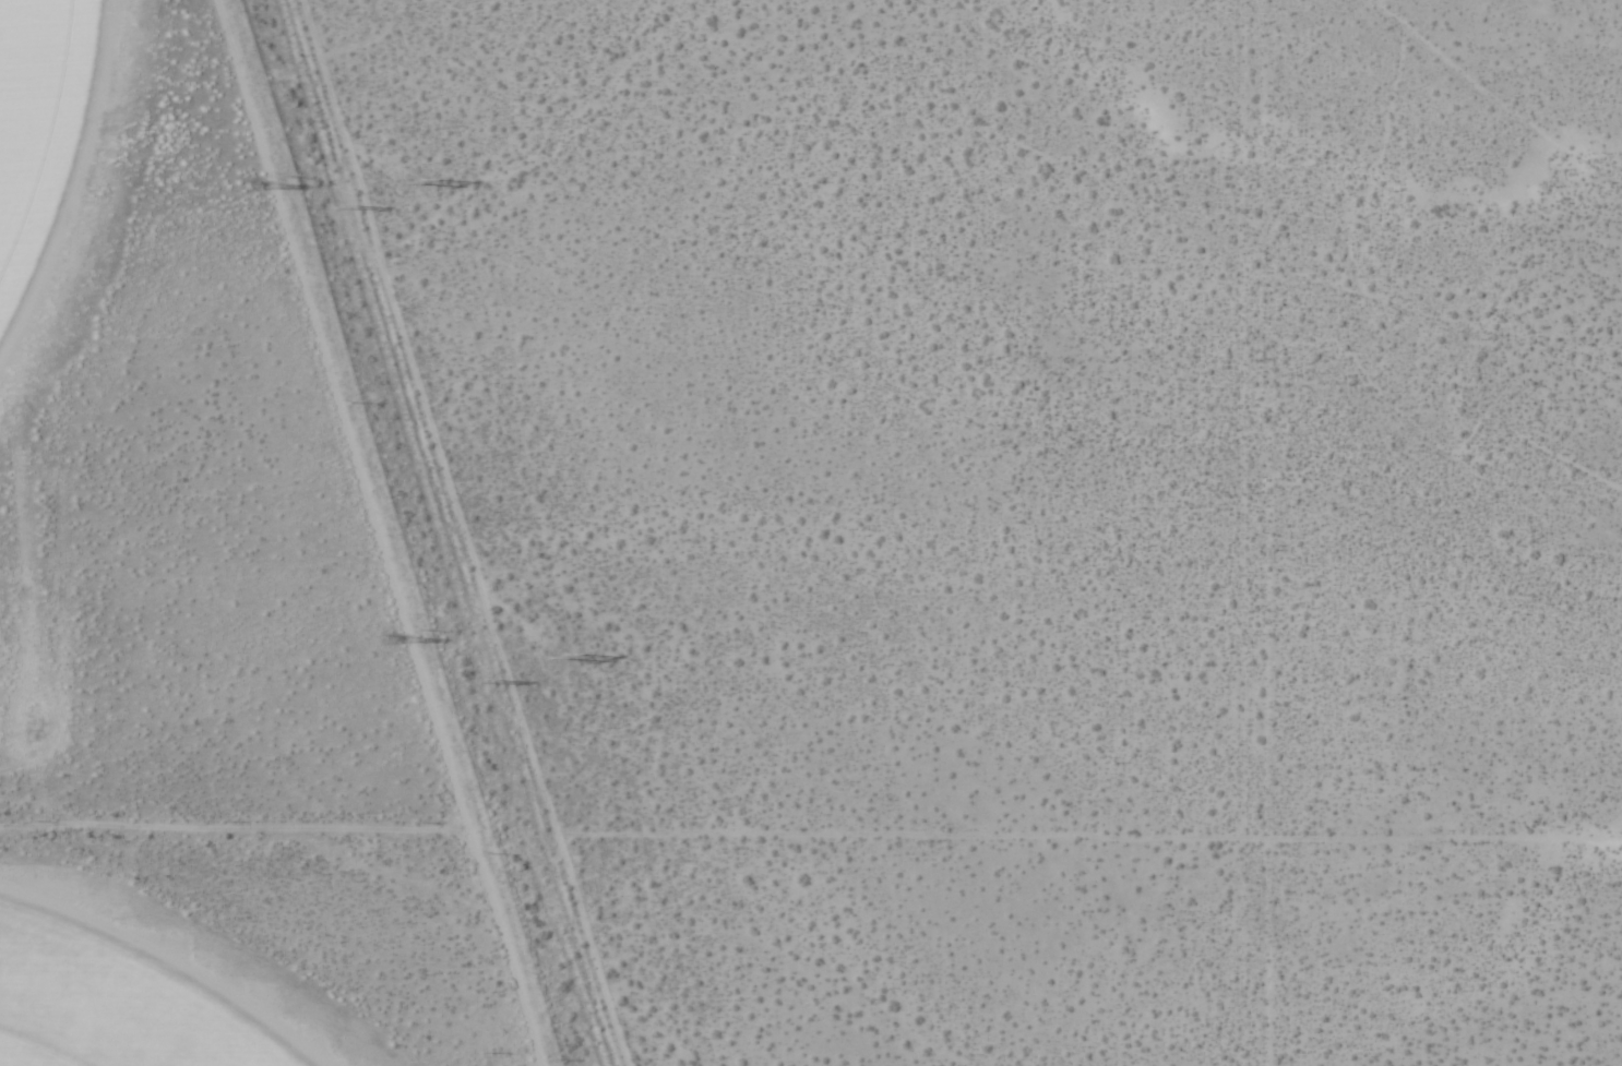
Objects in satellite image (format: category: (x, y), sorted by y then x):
crop: (36, 118)
power tower: (417, 181)
power tower: (245, 187)
power tower: (348, 202)
power tower: (389, 642)
power tower: (570, 654)
power tower: (497, 680)
crop: (111, 1002)

